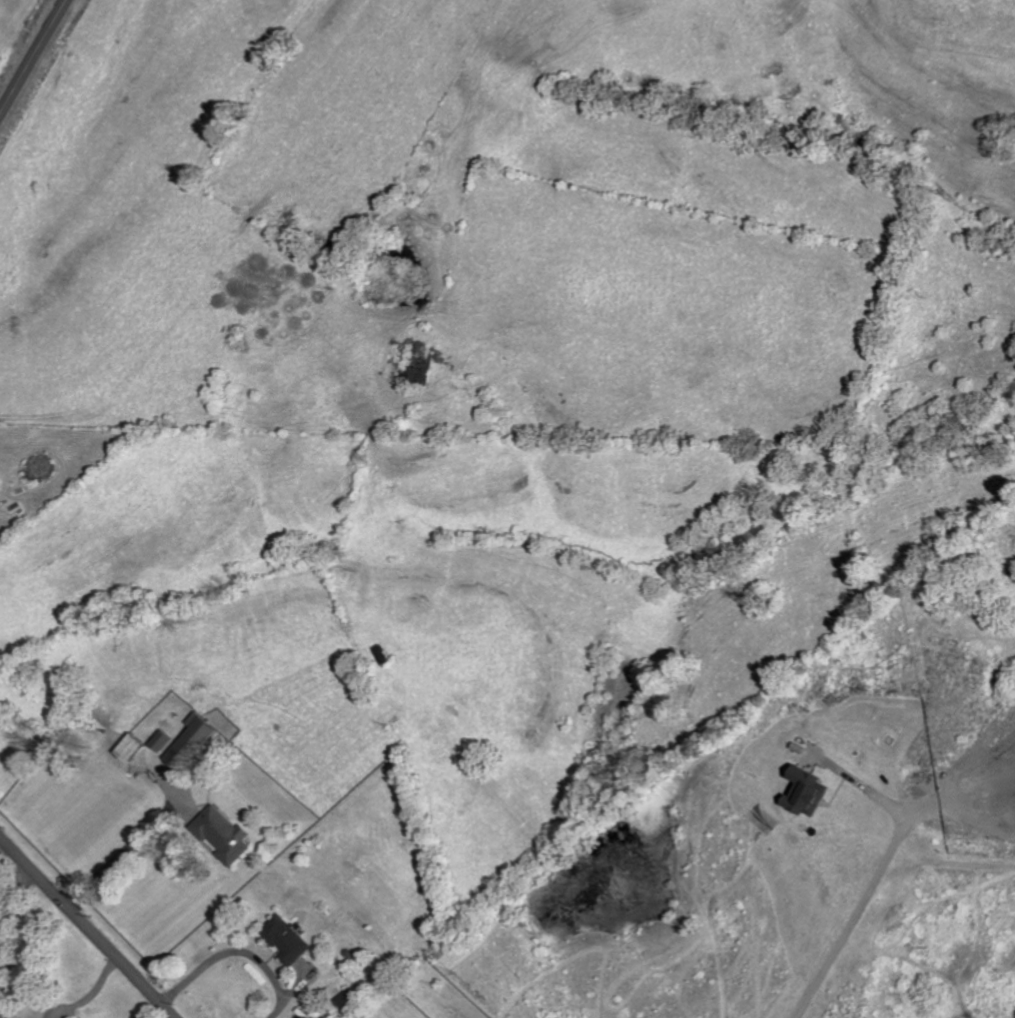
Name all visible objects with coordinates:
road: (33, 57)
building: (164, 741)
building: (194, 741)
building: (1, 747)
building: (809, 792)
building: (225, 834)
road: (113, 855)
road: (871, 886)
road: (87, 928)
building: (288, 940)
road: (13, 942)
road: (234, 950)
road: (92, 993)
building: (348, 1000)

